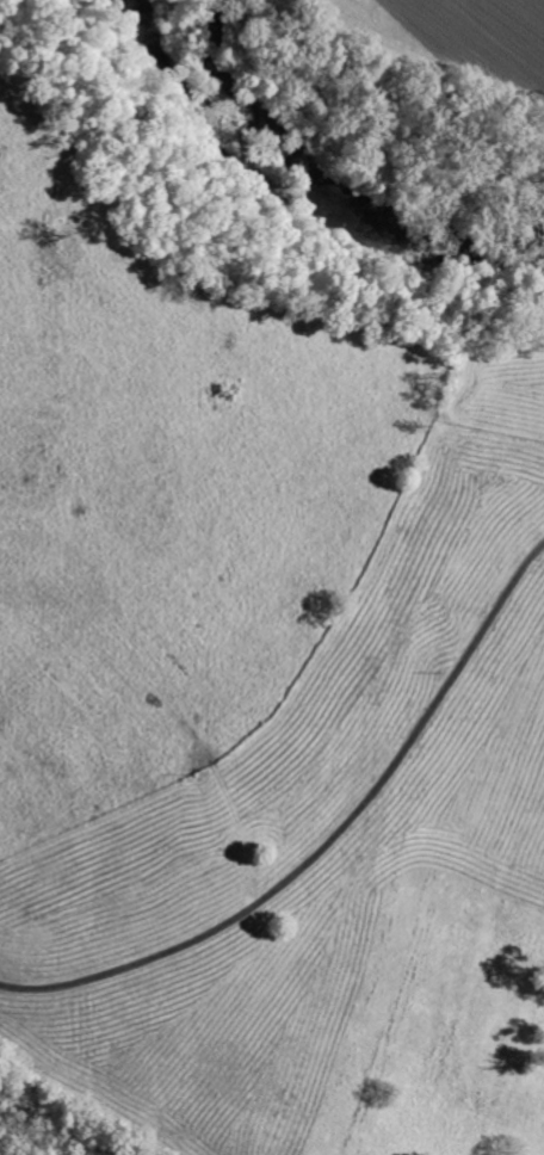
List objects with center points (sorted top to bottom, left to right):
river: (310, 172)
road: (327, 842)

